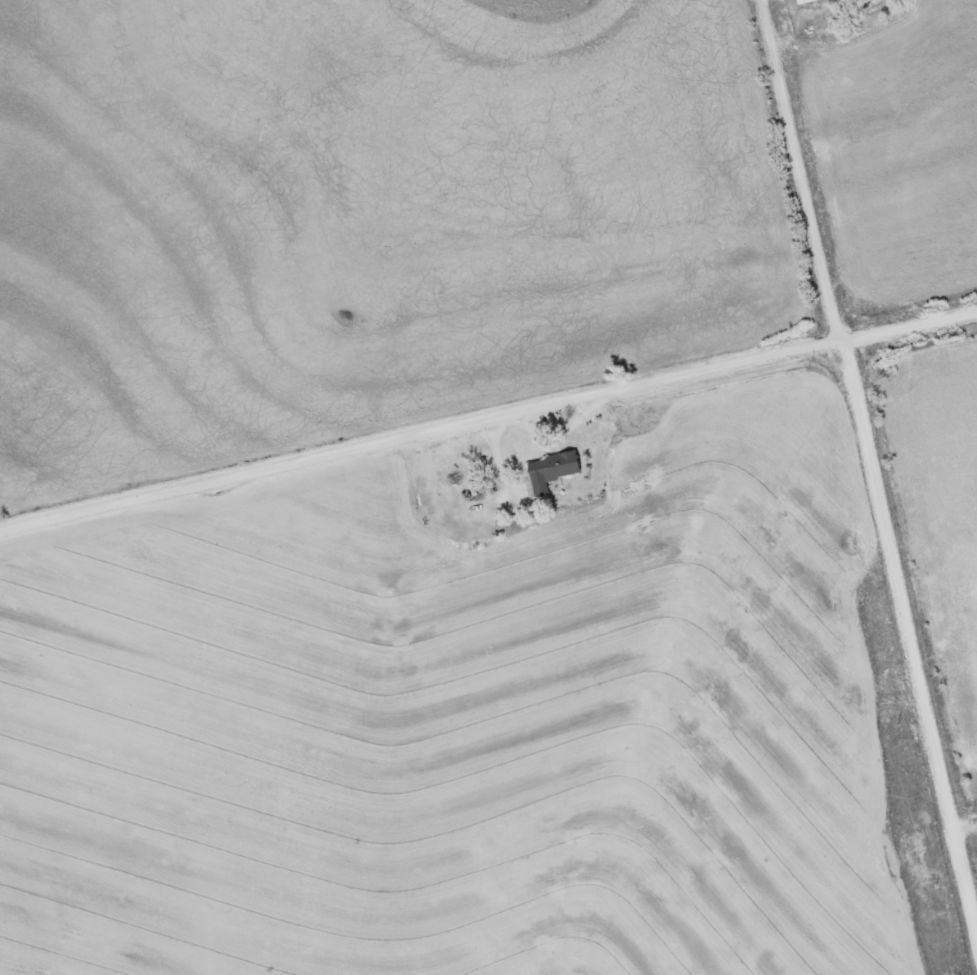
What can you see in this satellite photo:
building: (803, 1)
road: (488, 419)
road: (869, 465)
building: (550, 470)

